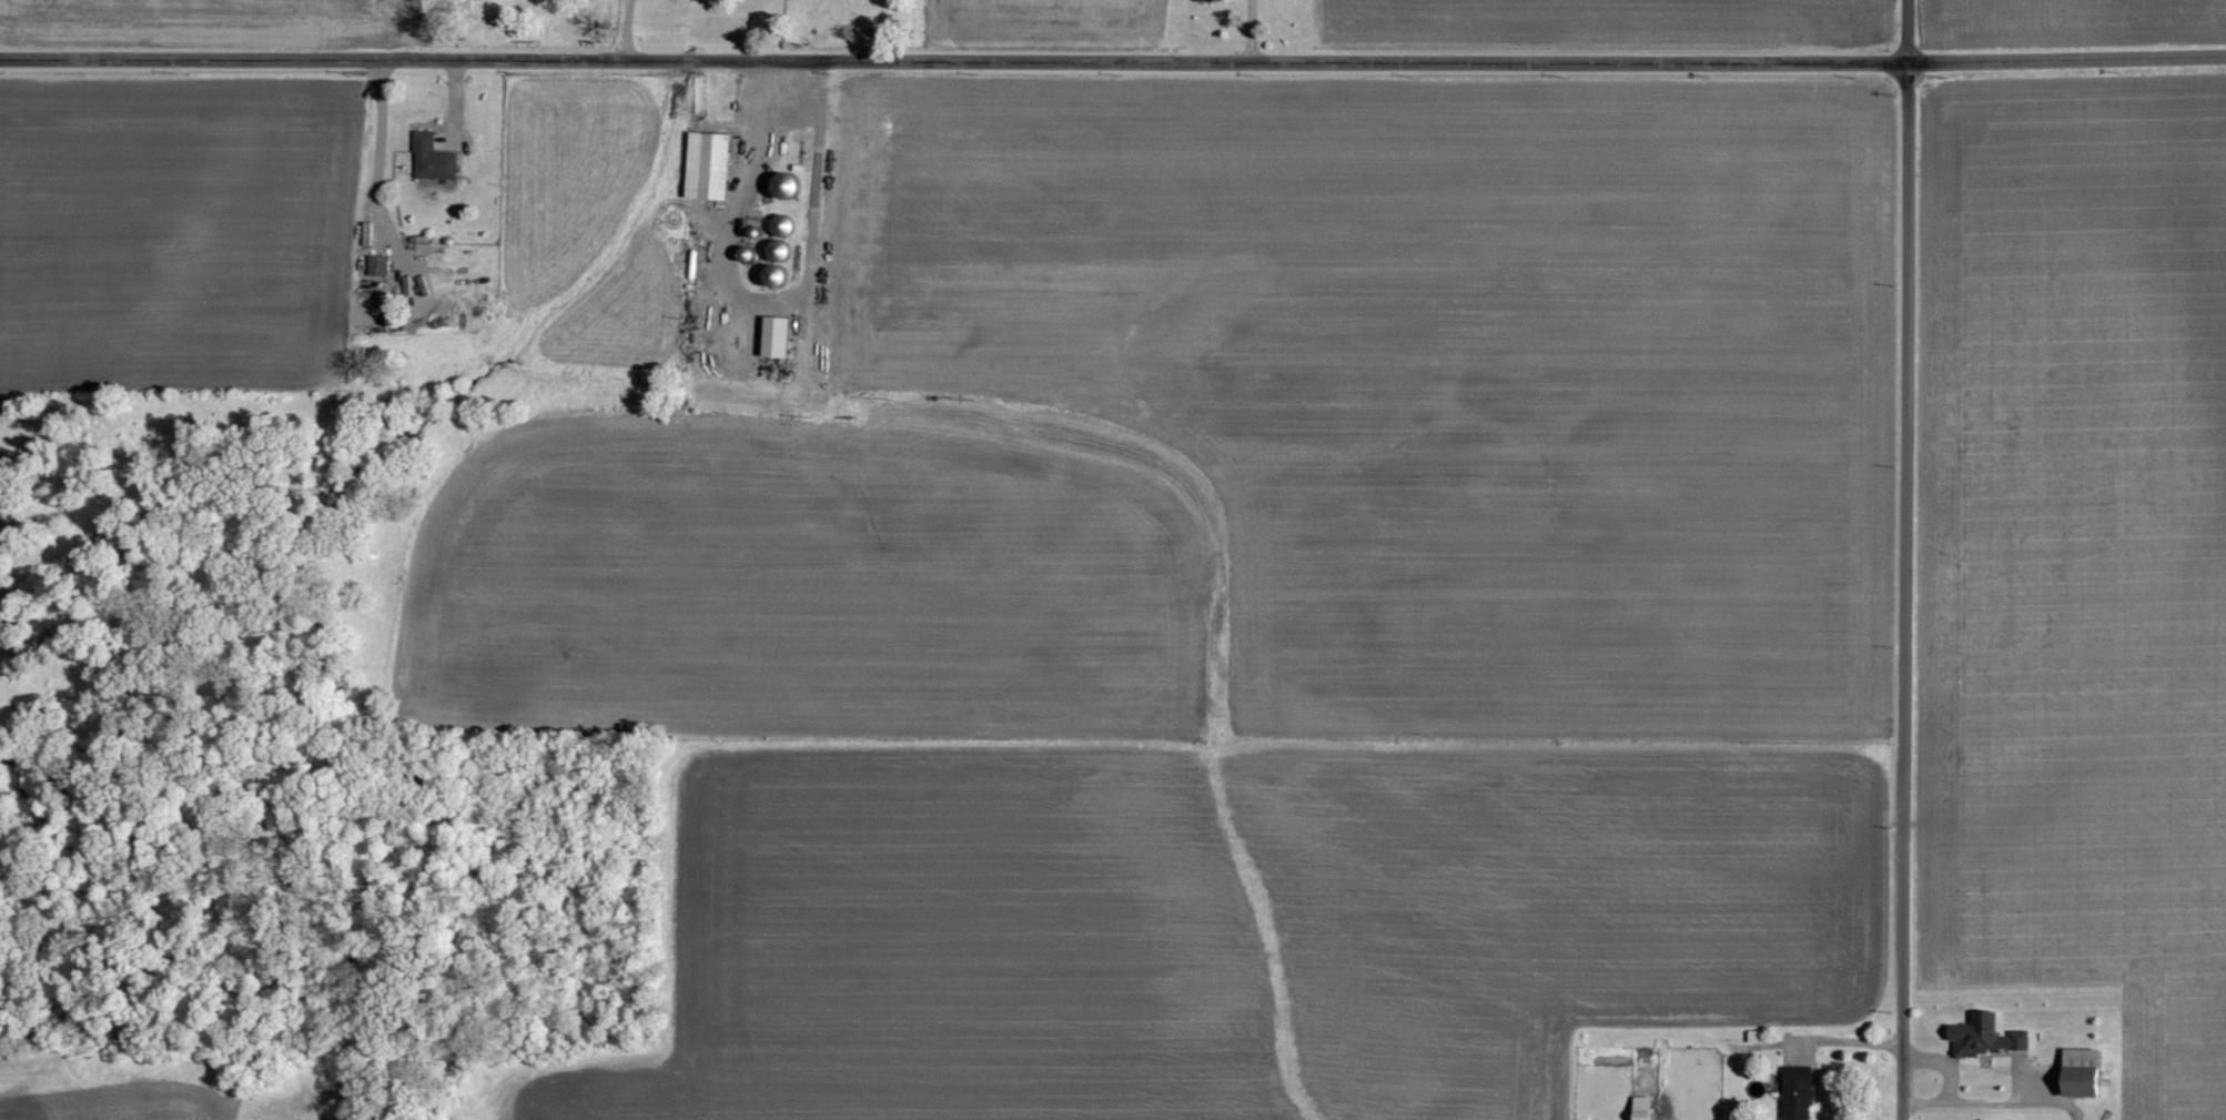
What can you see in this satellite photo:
building: (1208, 1)
road: (1113, 60)
building: (432, 158)
building: (705, 165)
building: (783, 186)
building: (376, 265)
building: (773, 336)
crop: (2078, 555)
road: (1908, 559)
building: (1984, 1035)
building: (2082, 1071)
building: (1795, 1093)

